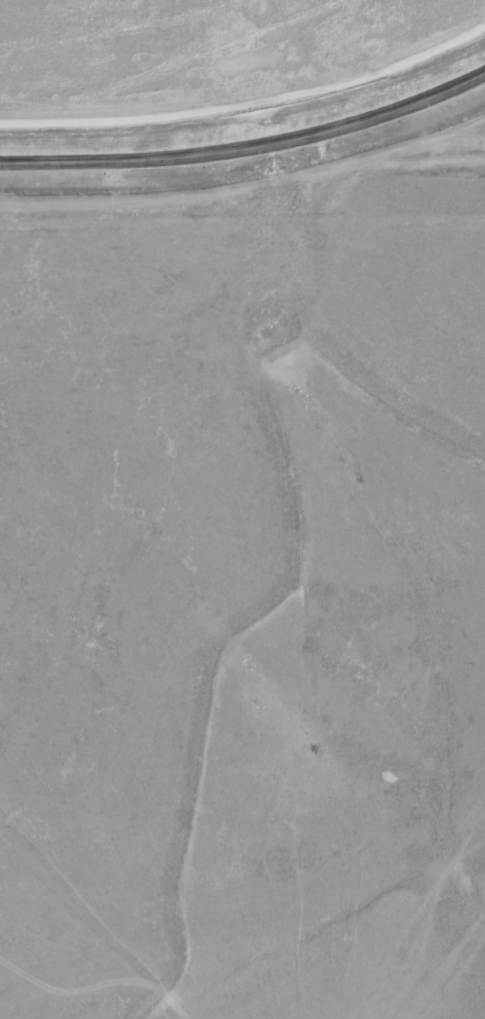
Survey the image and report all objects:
road: (250, 104)
road: (248, 151)

